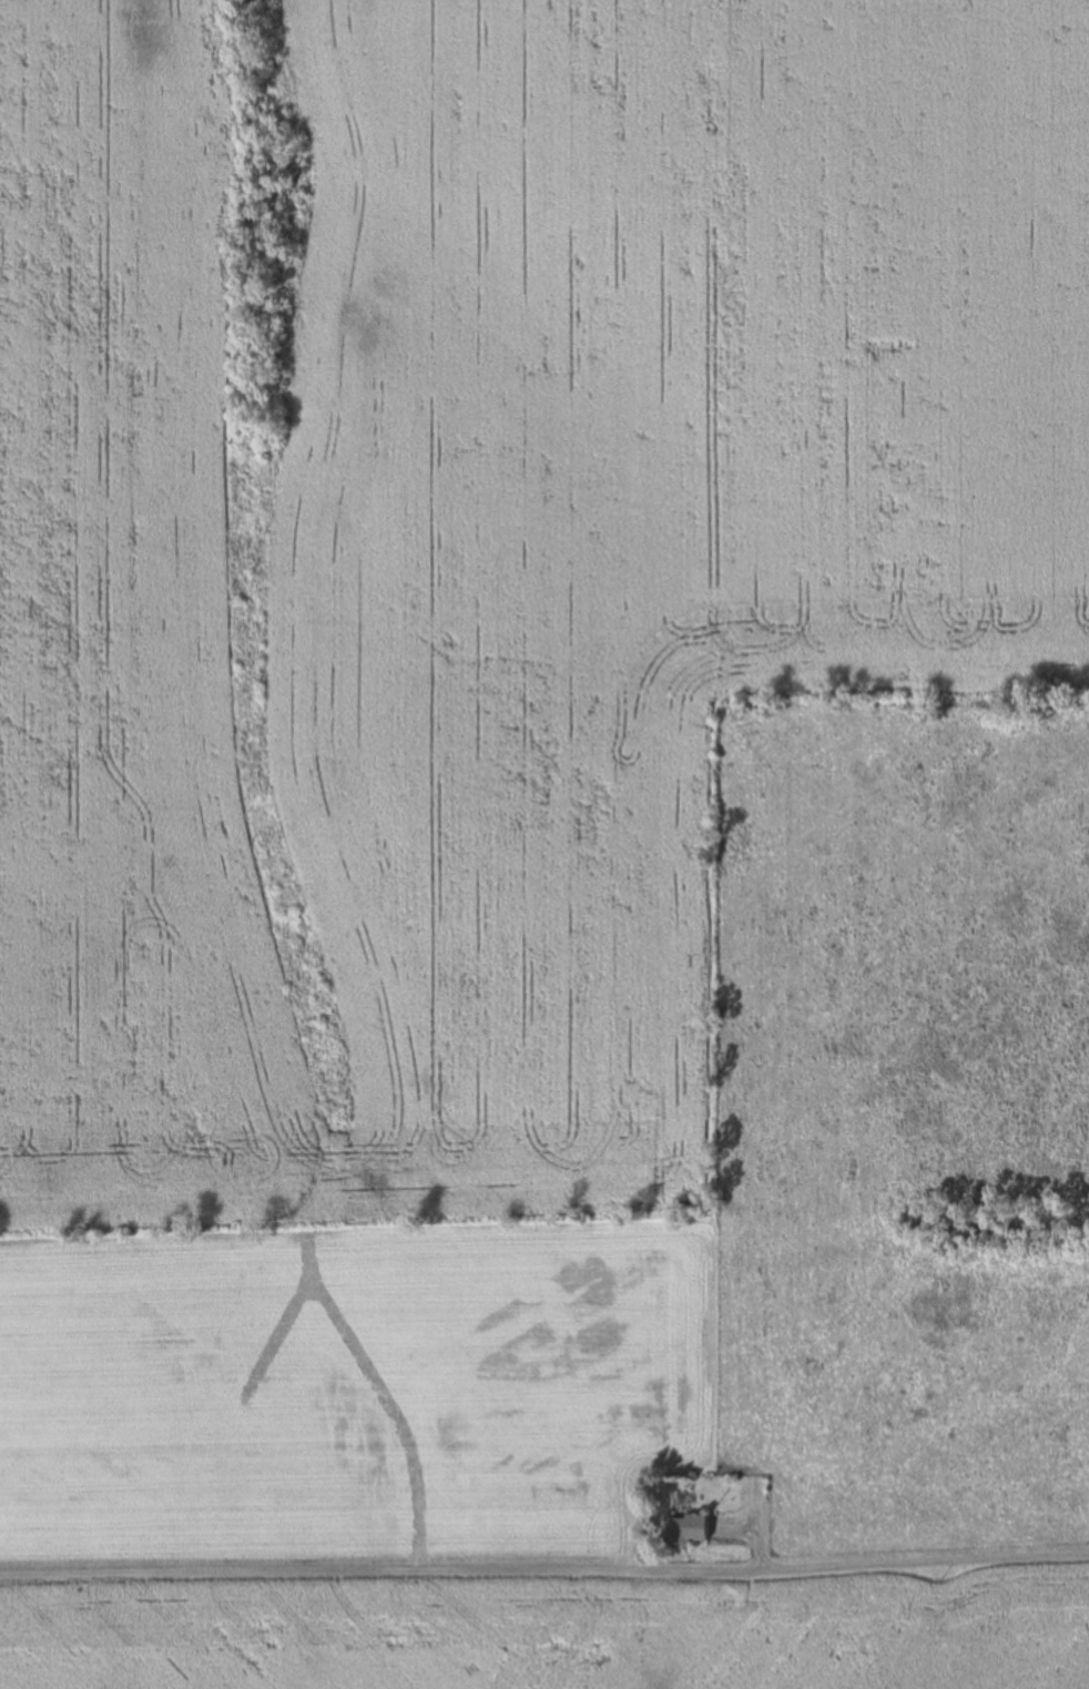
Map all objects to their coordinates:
building: (686, 1530)
road: (544, 1577)

